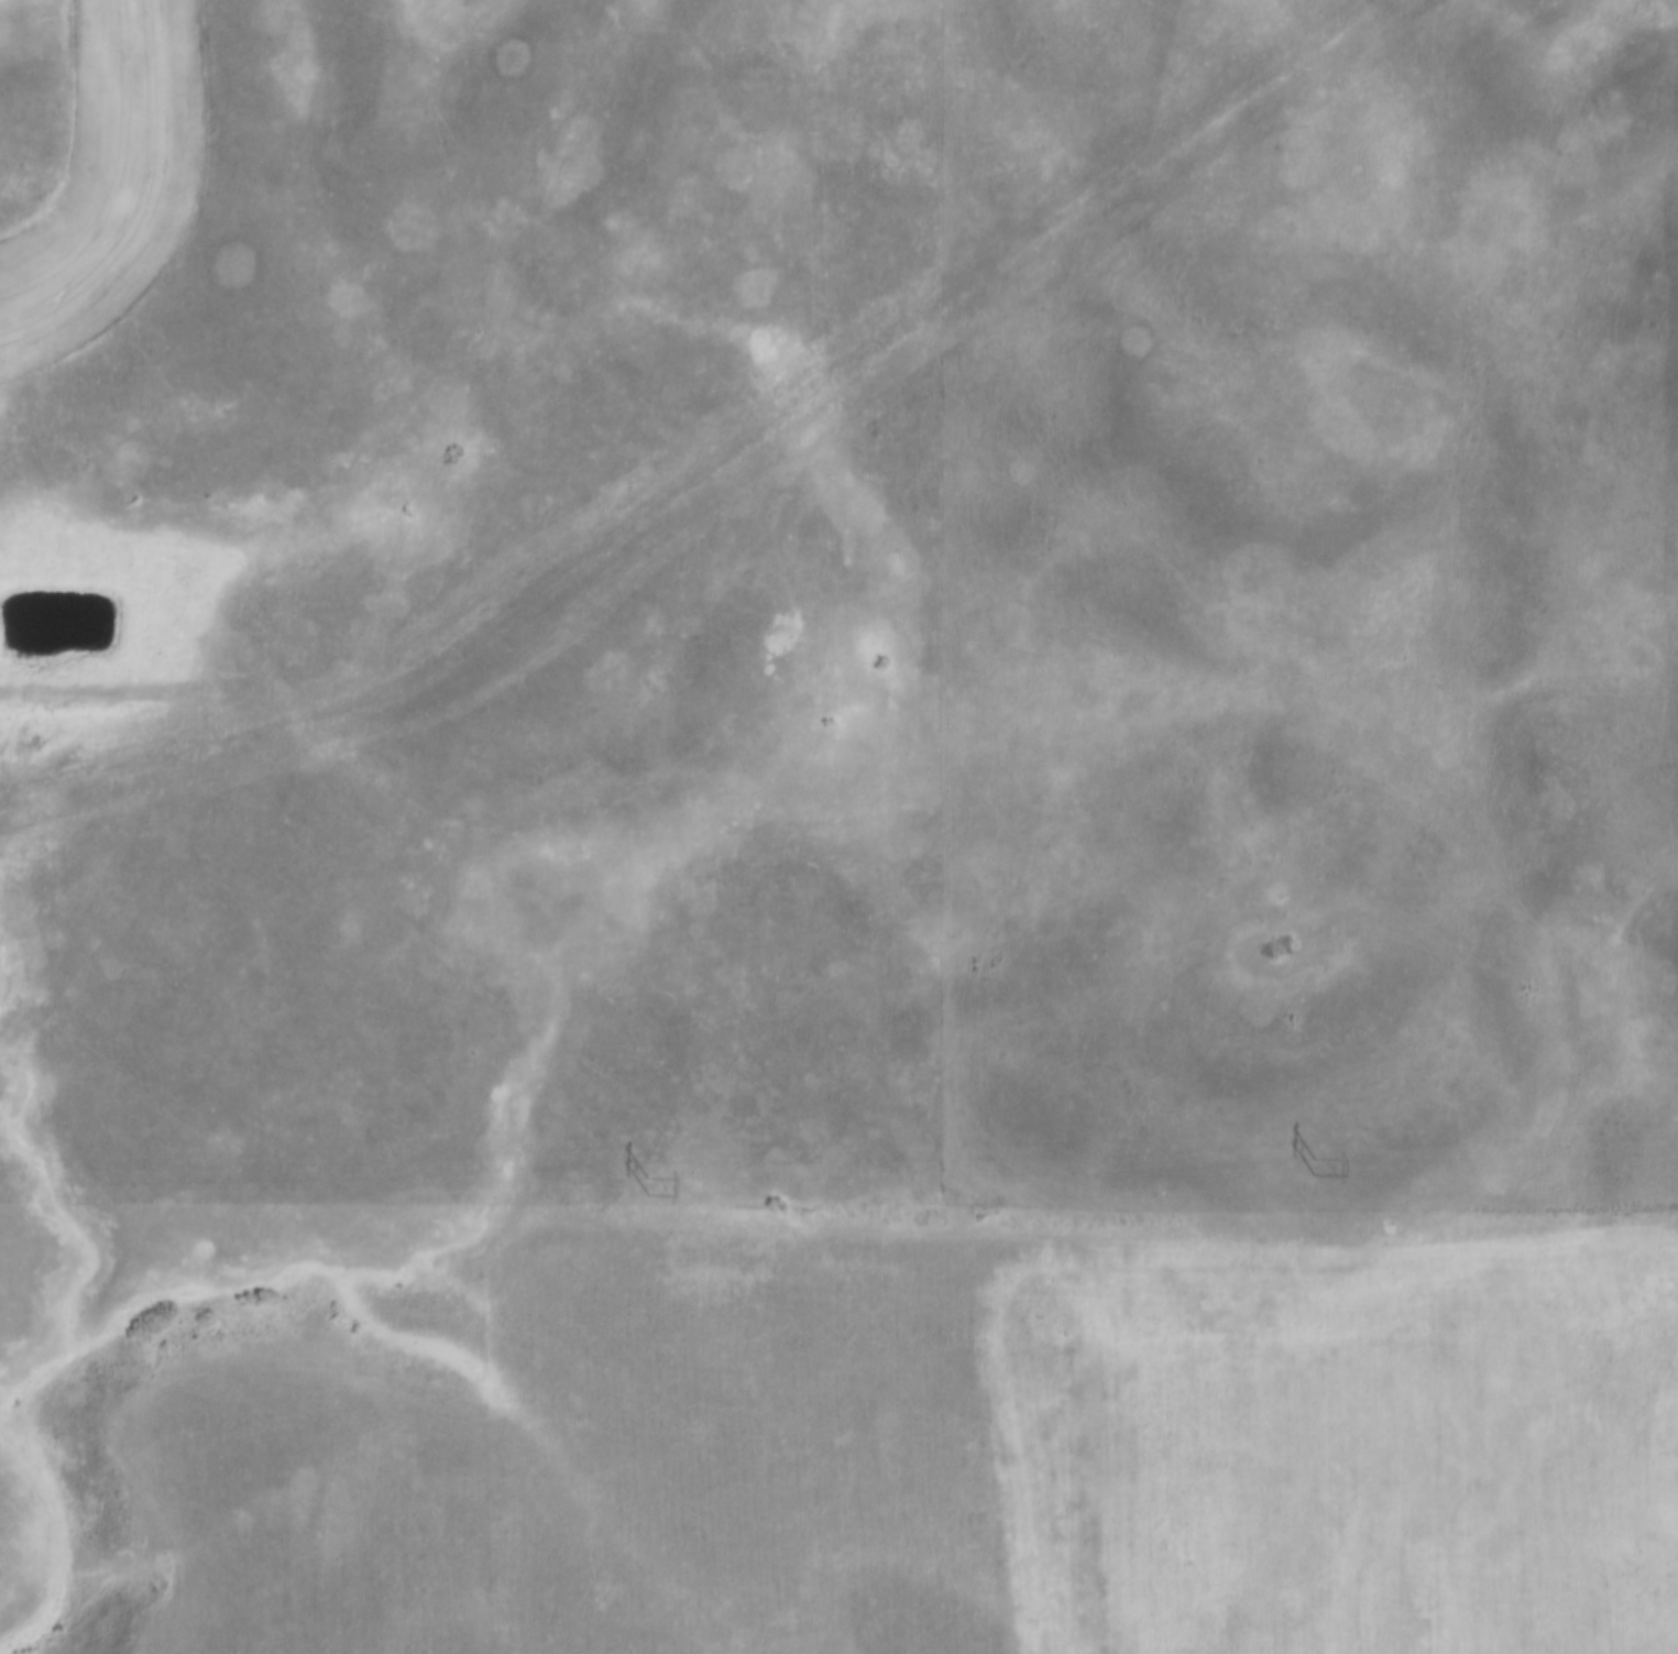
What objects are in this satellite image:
power tower: (1315, 1166)
power tower: (645, 1185)

